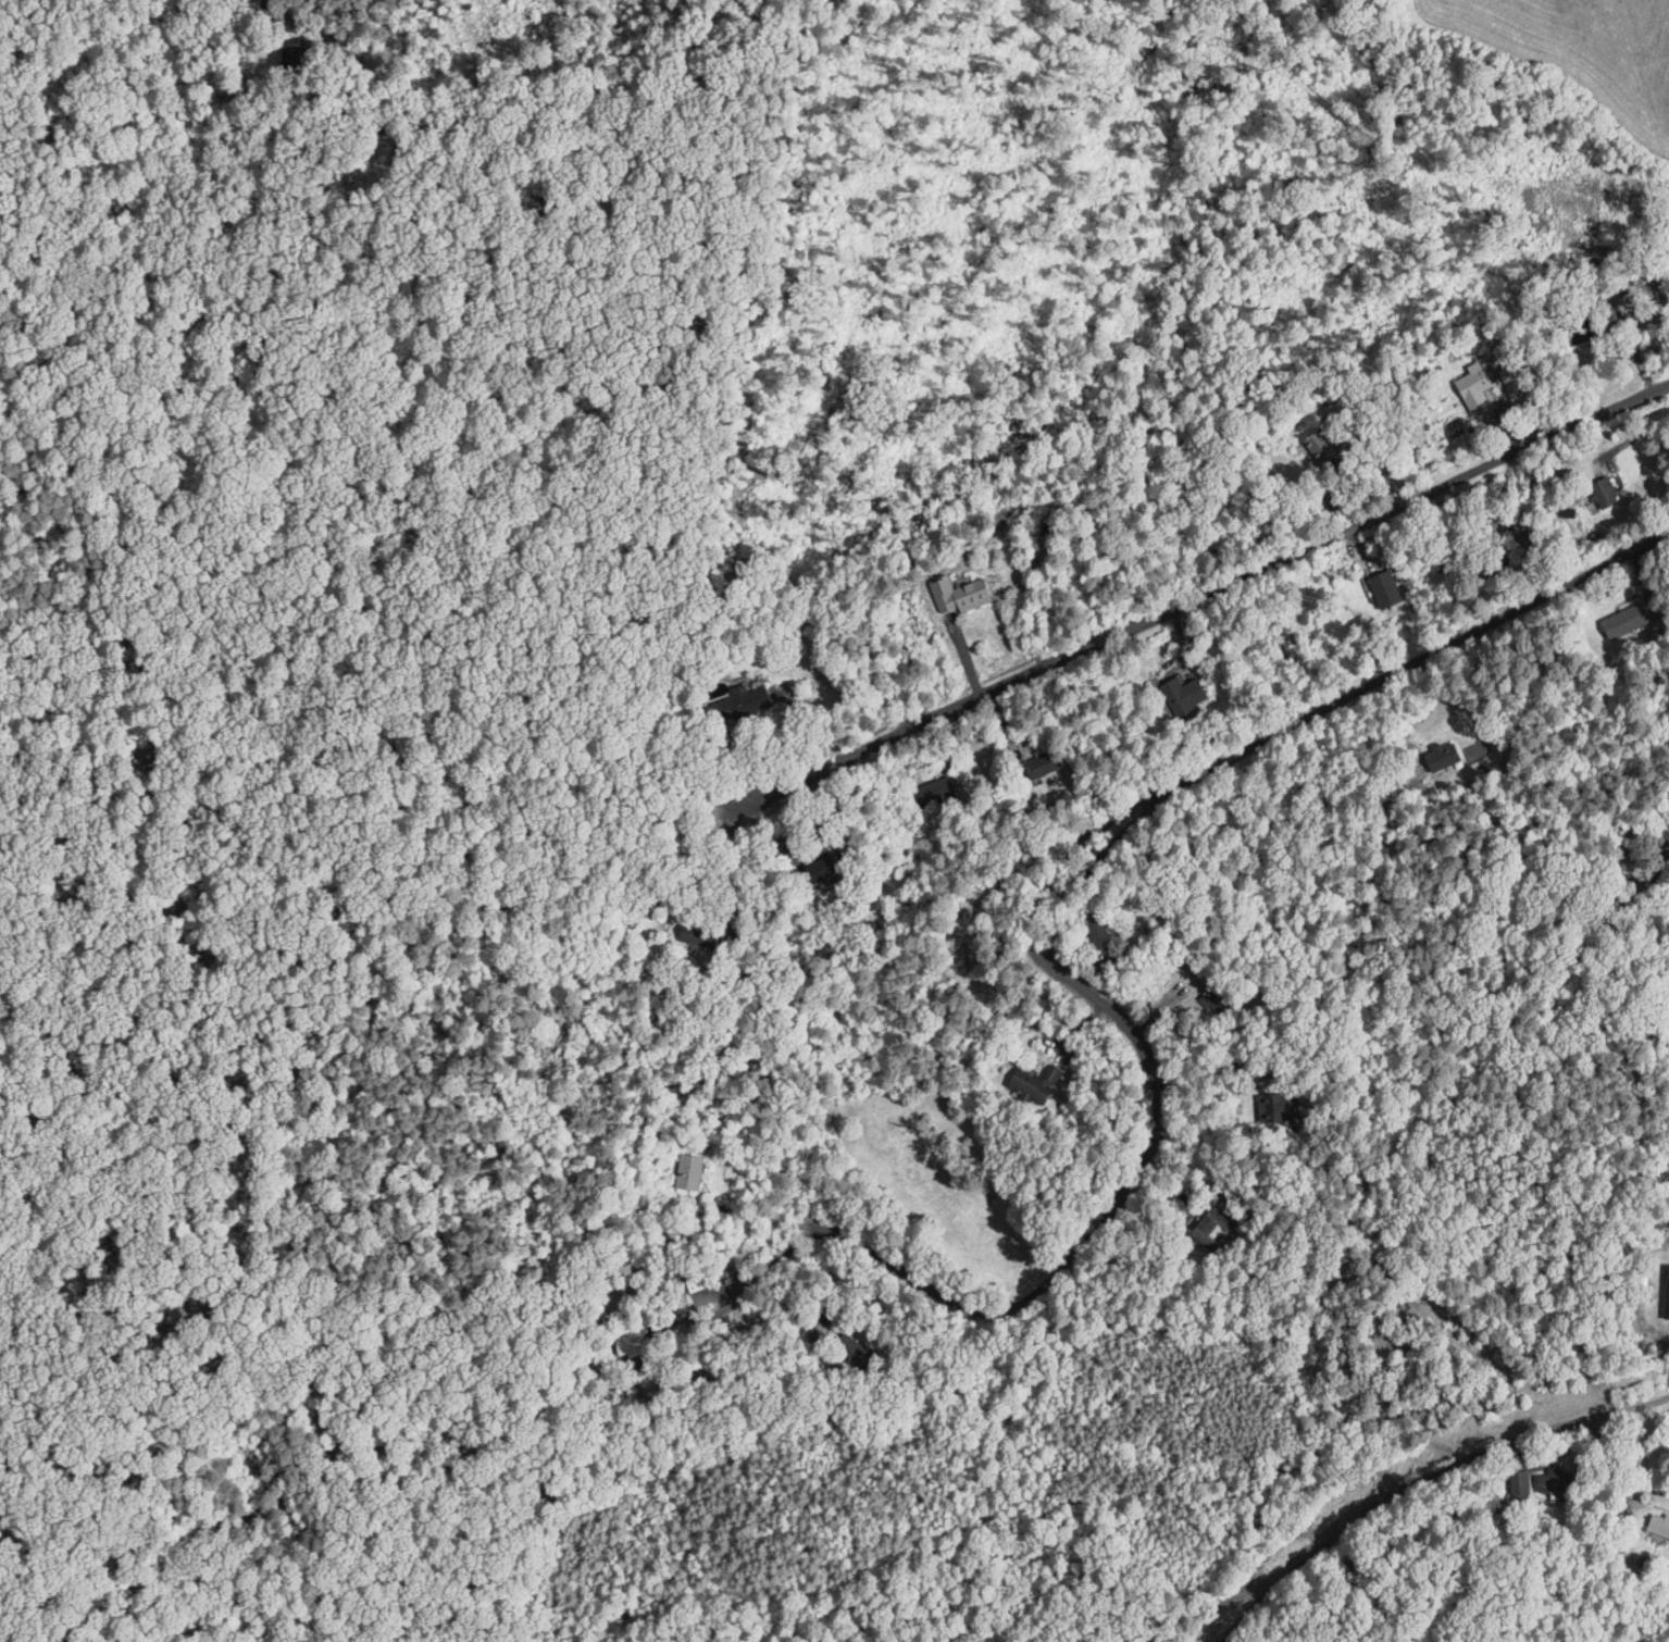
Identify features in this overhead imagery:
road: (288, 18)
road: (1634, 437)
building: (1611, 493)
road: (1208, 596)
building: (1621, 623)
building: (1190, 691)
road: (742, 870)
road: (1061, 903)
road: (1211, 1068)
road: (759, 1214)
road: (775, 1262)
road: (1615, 1477)
road: (1425, 1479)
building: (1661, 1523)
road: (1193, 1613)

